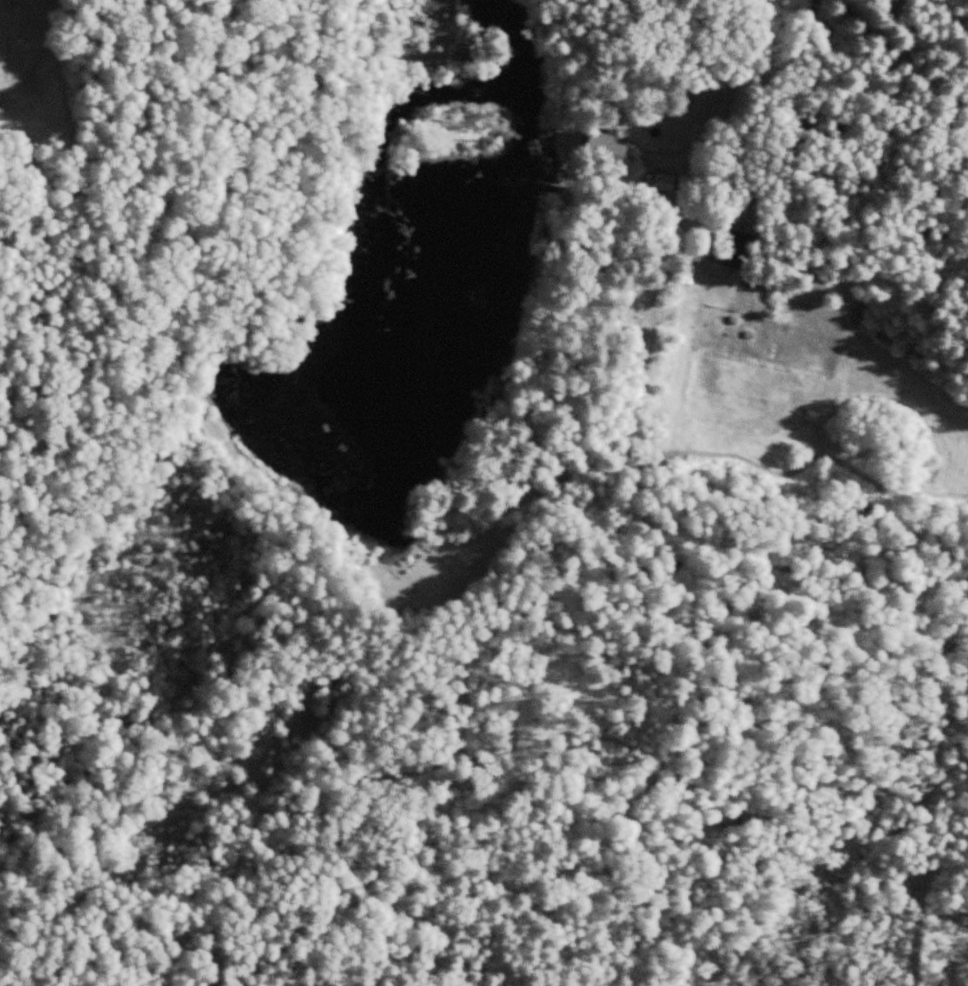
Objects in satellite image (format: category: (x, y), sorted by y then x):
building: (606, 148)
building: (662, 183)
building: (736, 247)

